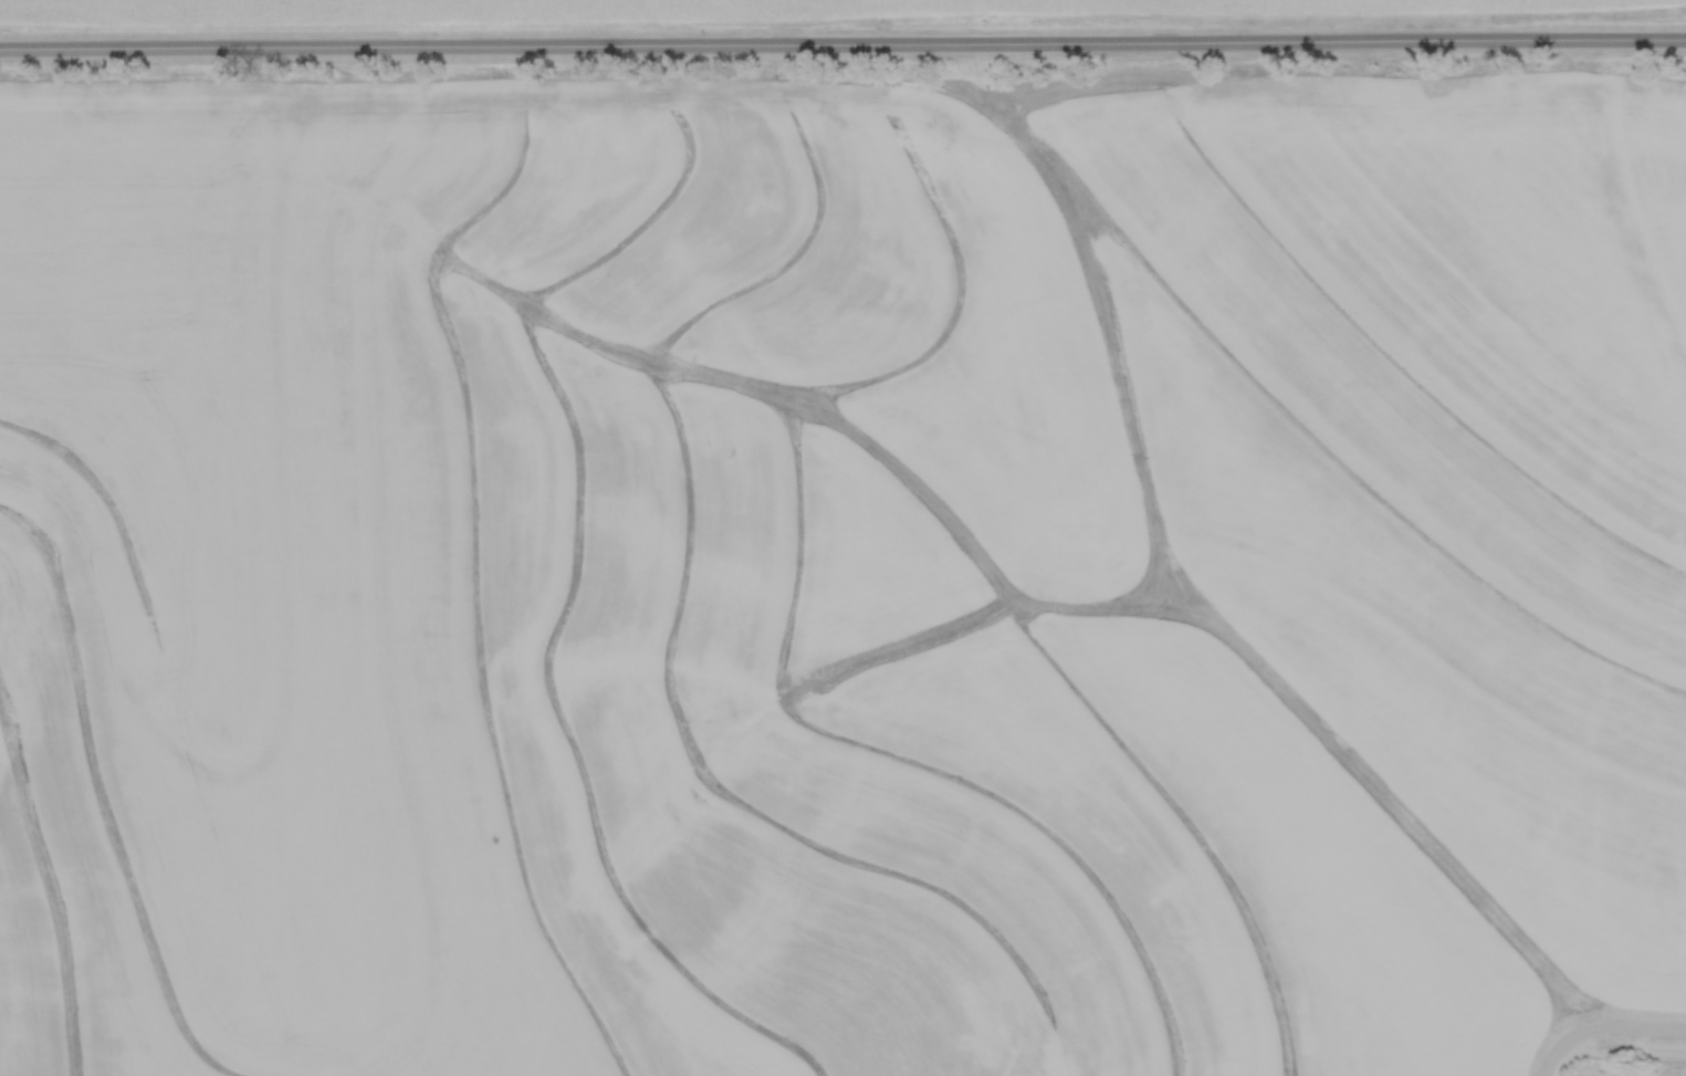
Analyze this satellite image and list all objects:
road: (842, 44)
road: (1604, 1032)

